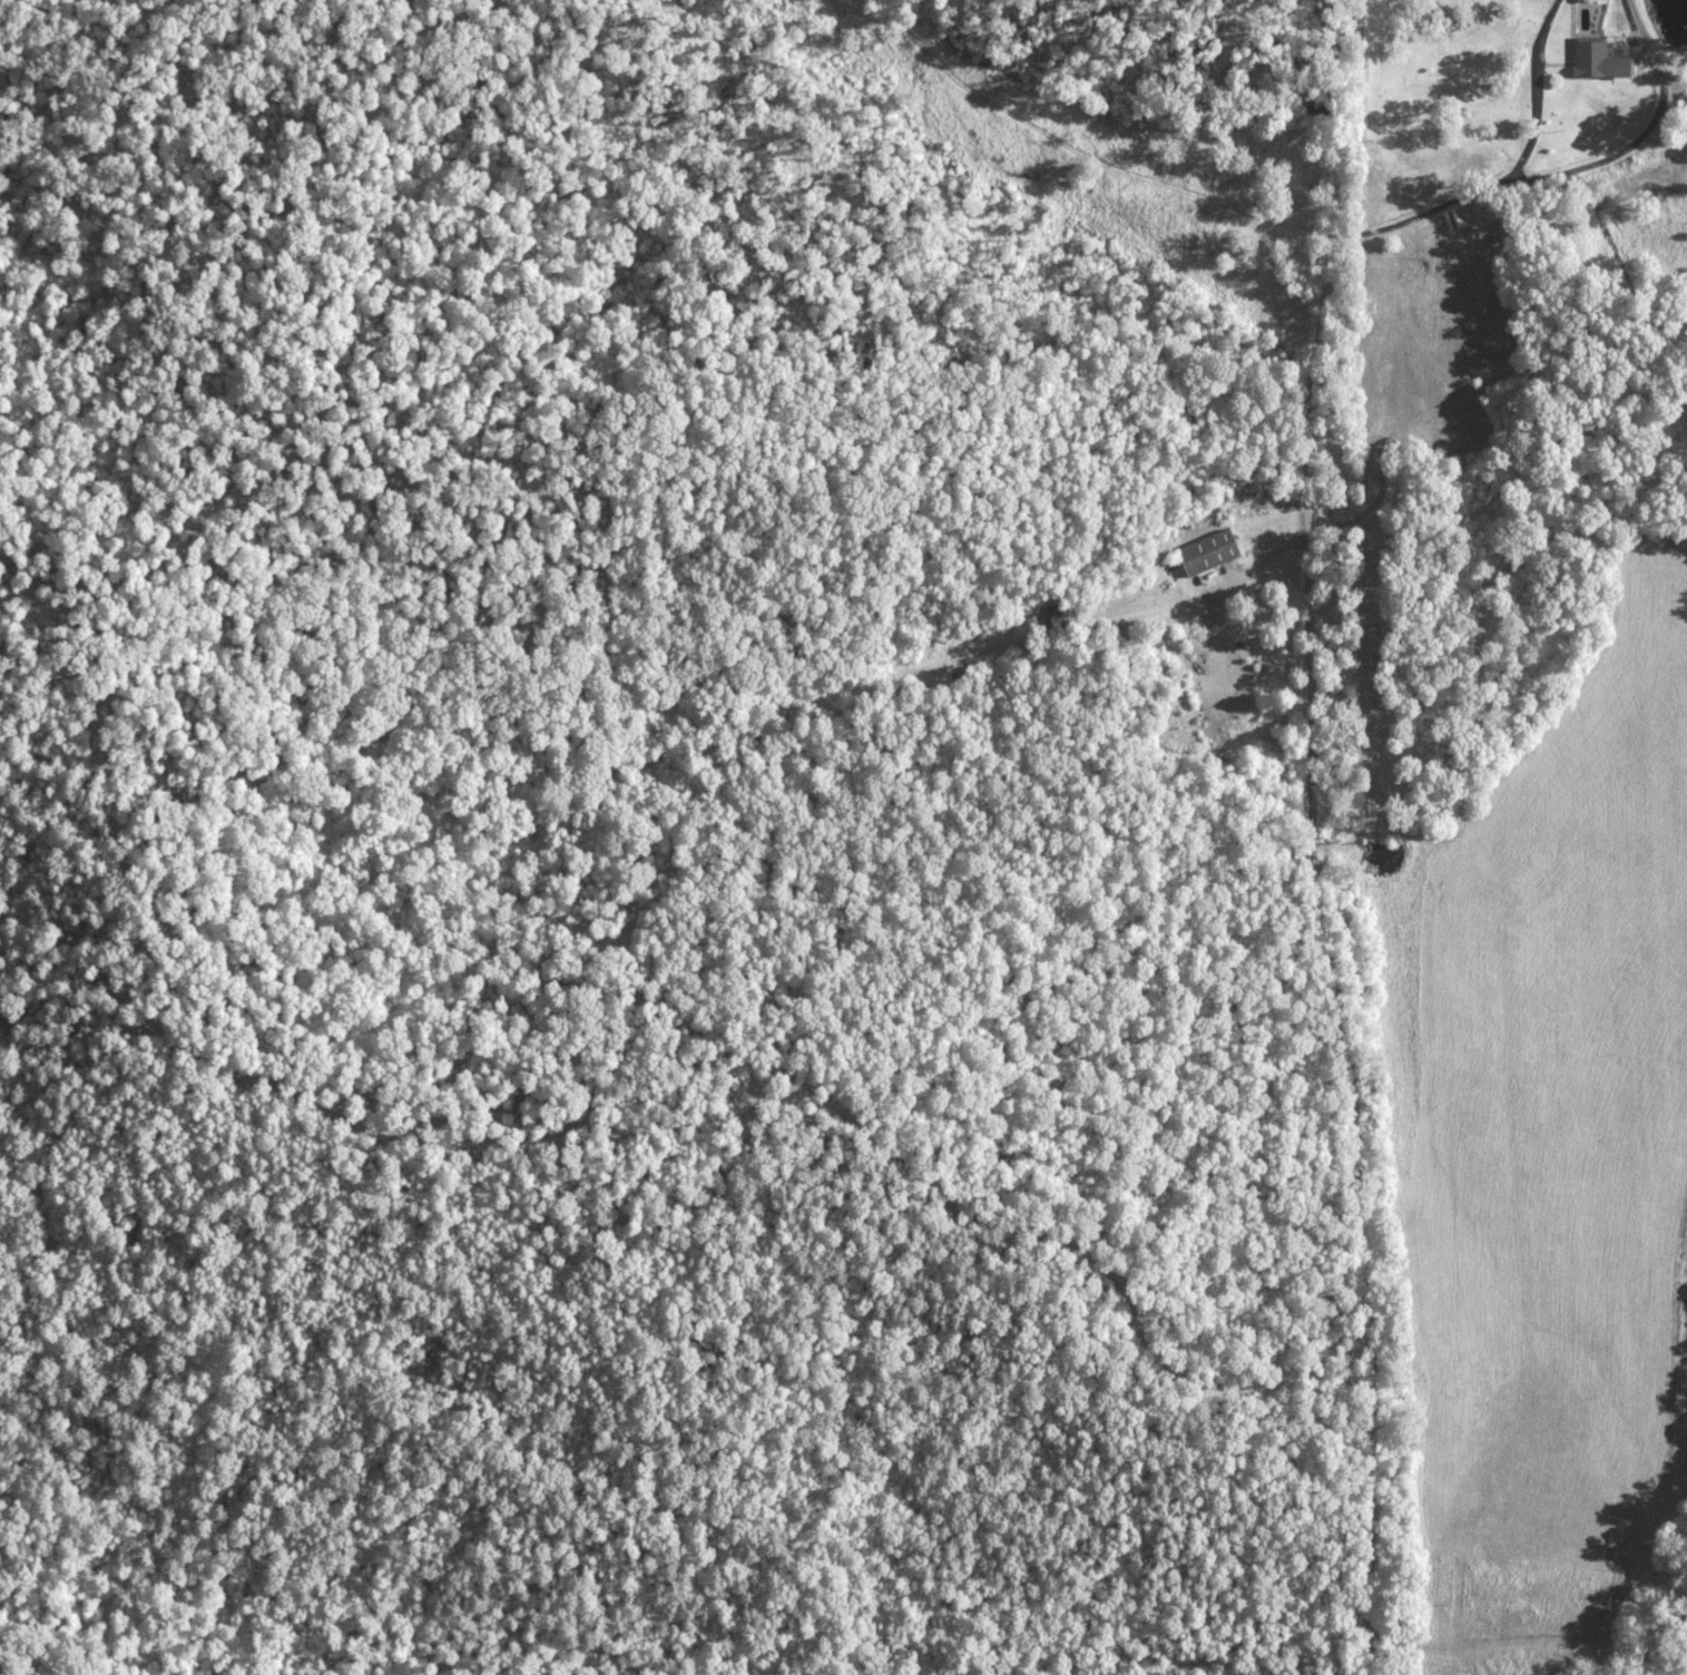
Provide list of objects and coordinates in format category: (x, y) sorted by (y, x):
building: (1605, 59)
road: (1322, 305)
building: (1215, 551)
road: (1310, 699)

